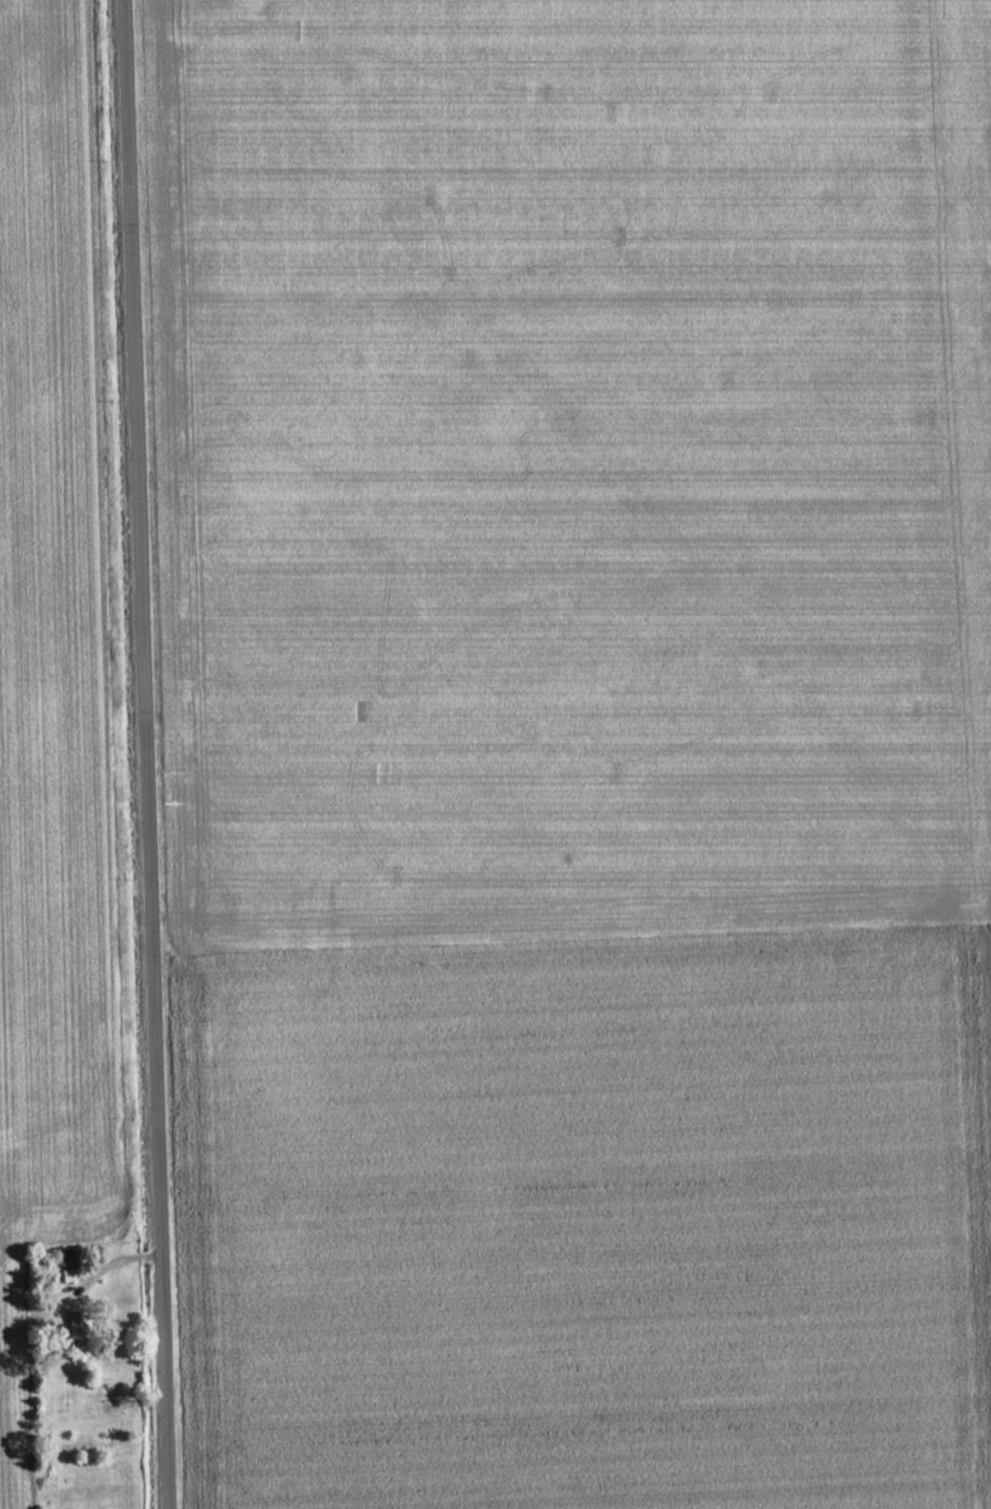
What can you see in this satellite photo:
crop: (986, 206)
crop: (53, 690)
crop: (582, 752)
road: (145, 754)
building: (78, 1329)

